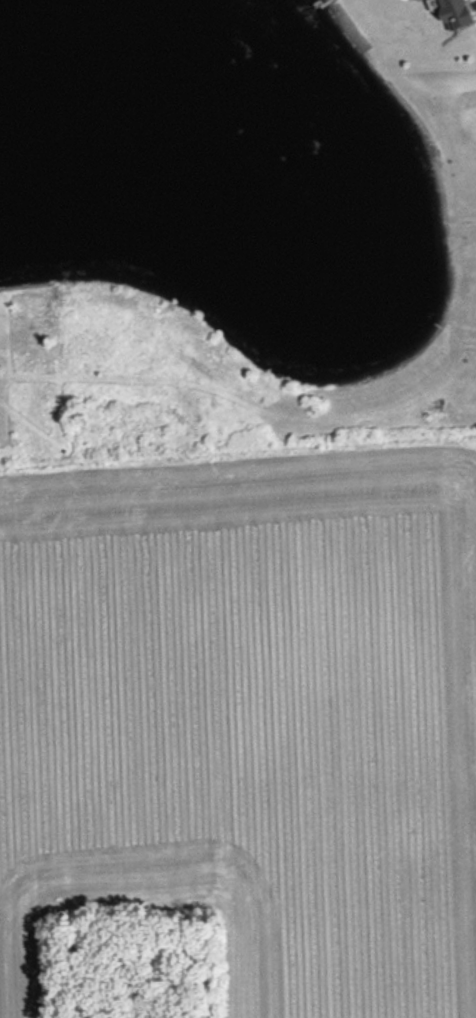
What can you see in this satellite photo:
building: (461, 12)

